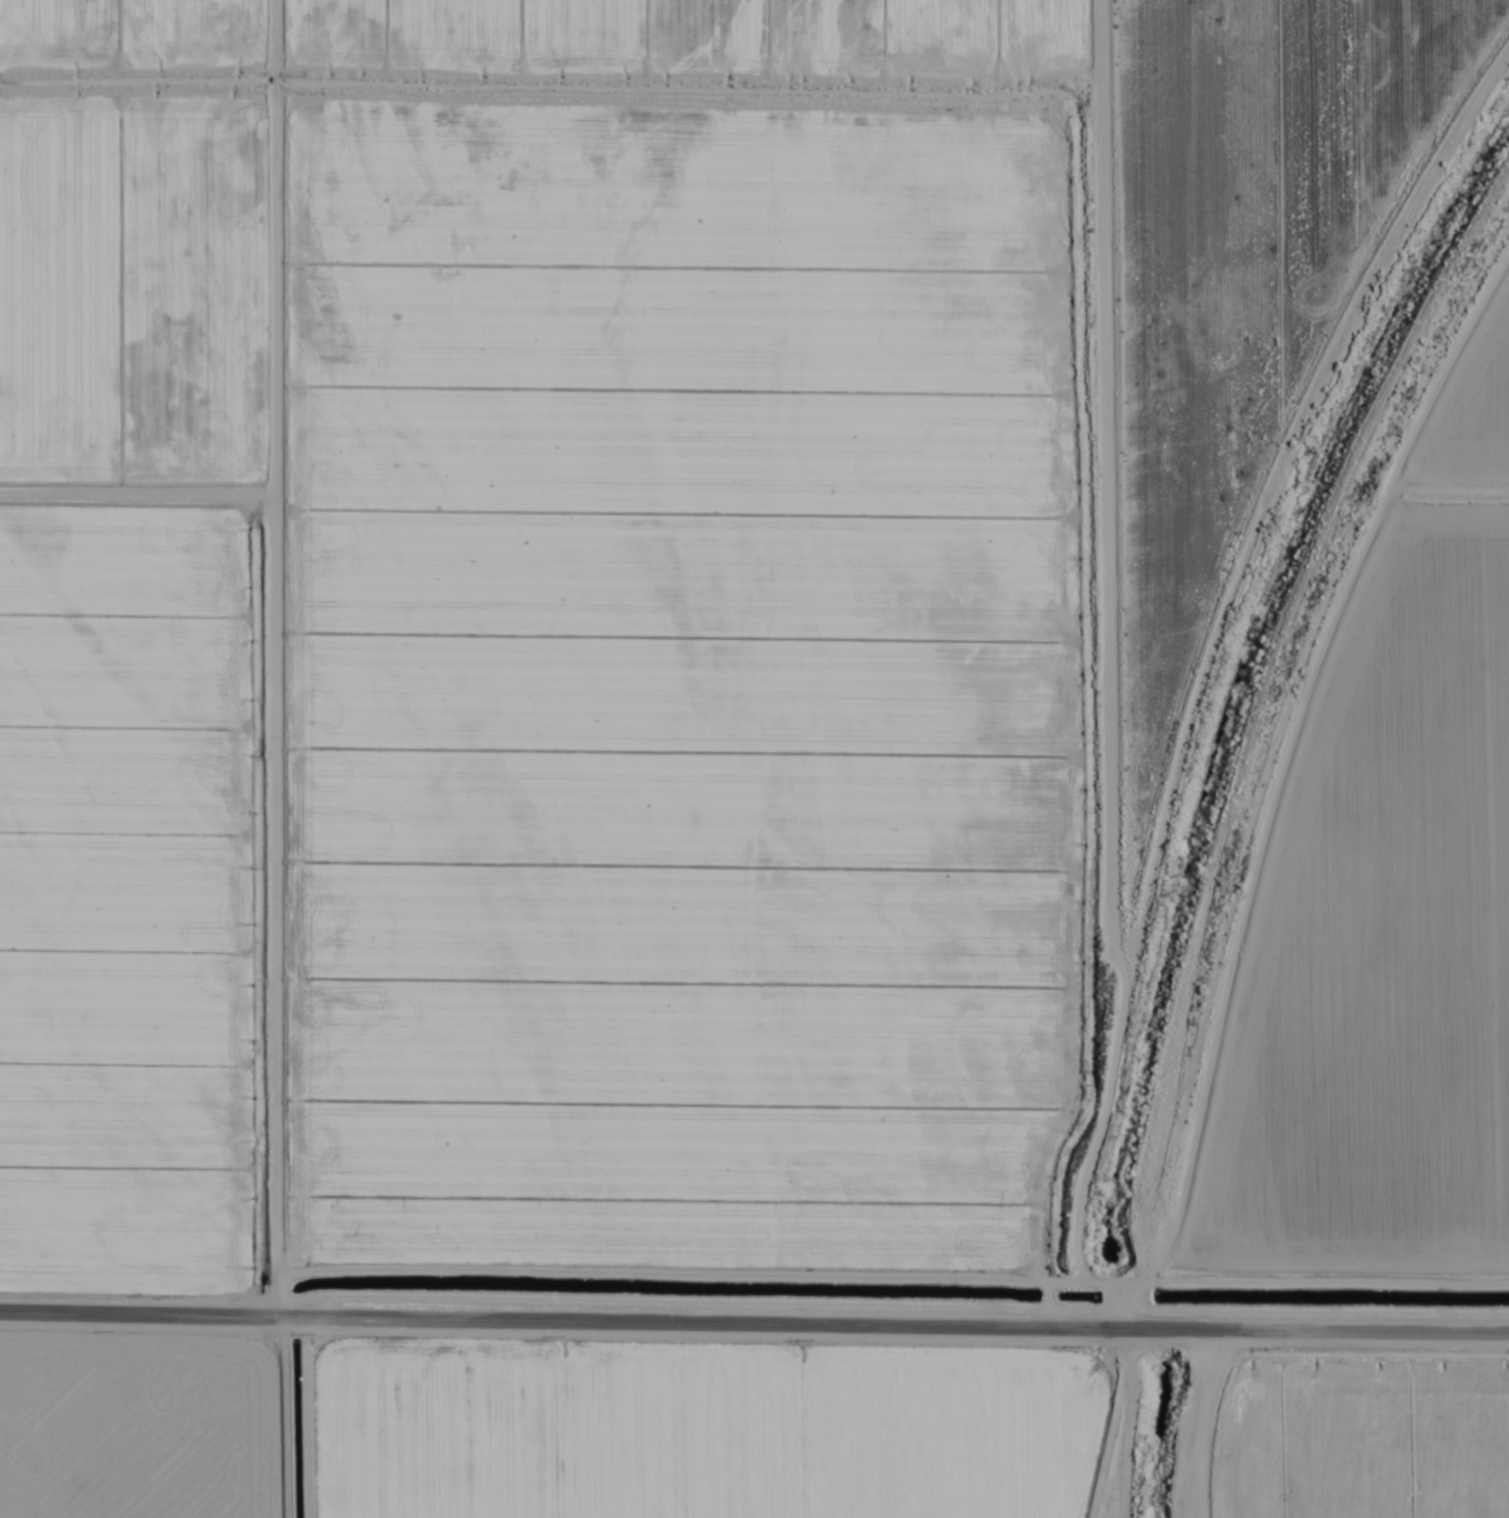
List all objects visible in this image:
crop: (754, 759)
road: (1314, 891)
road: (754, 1326)
road: (348, 1422)

